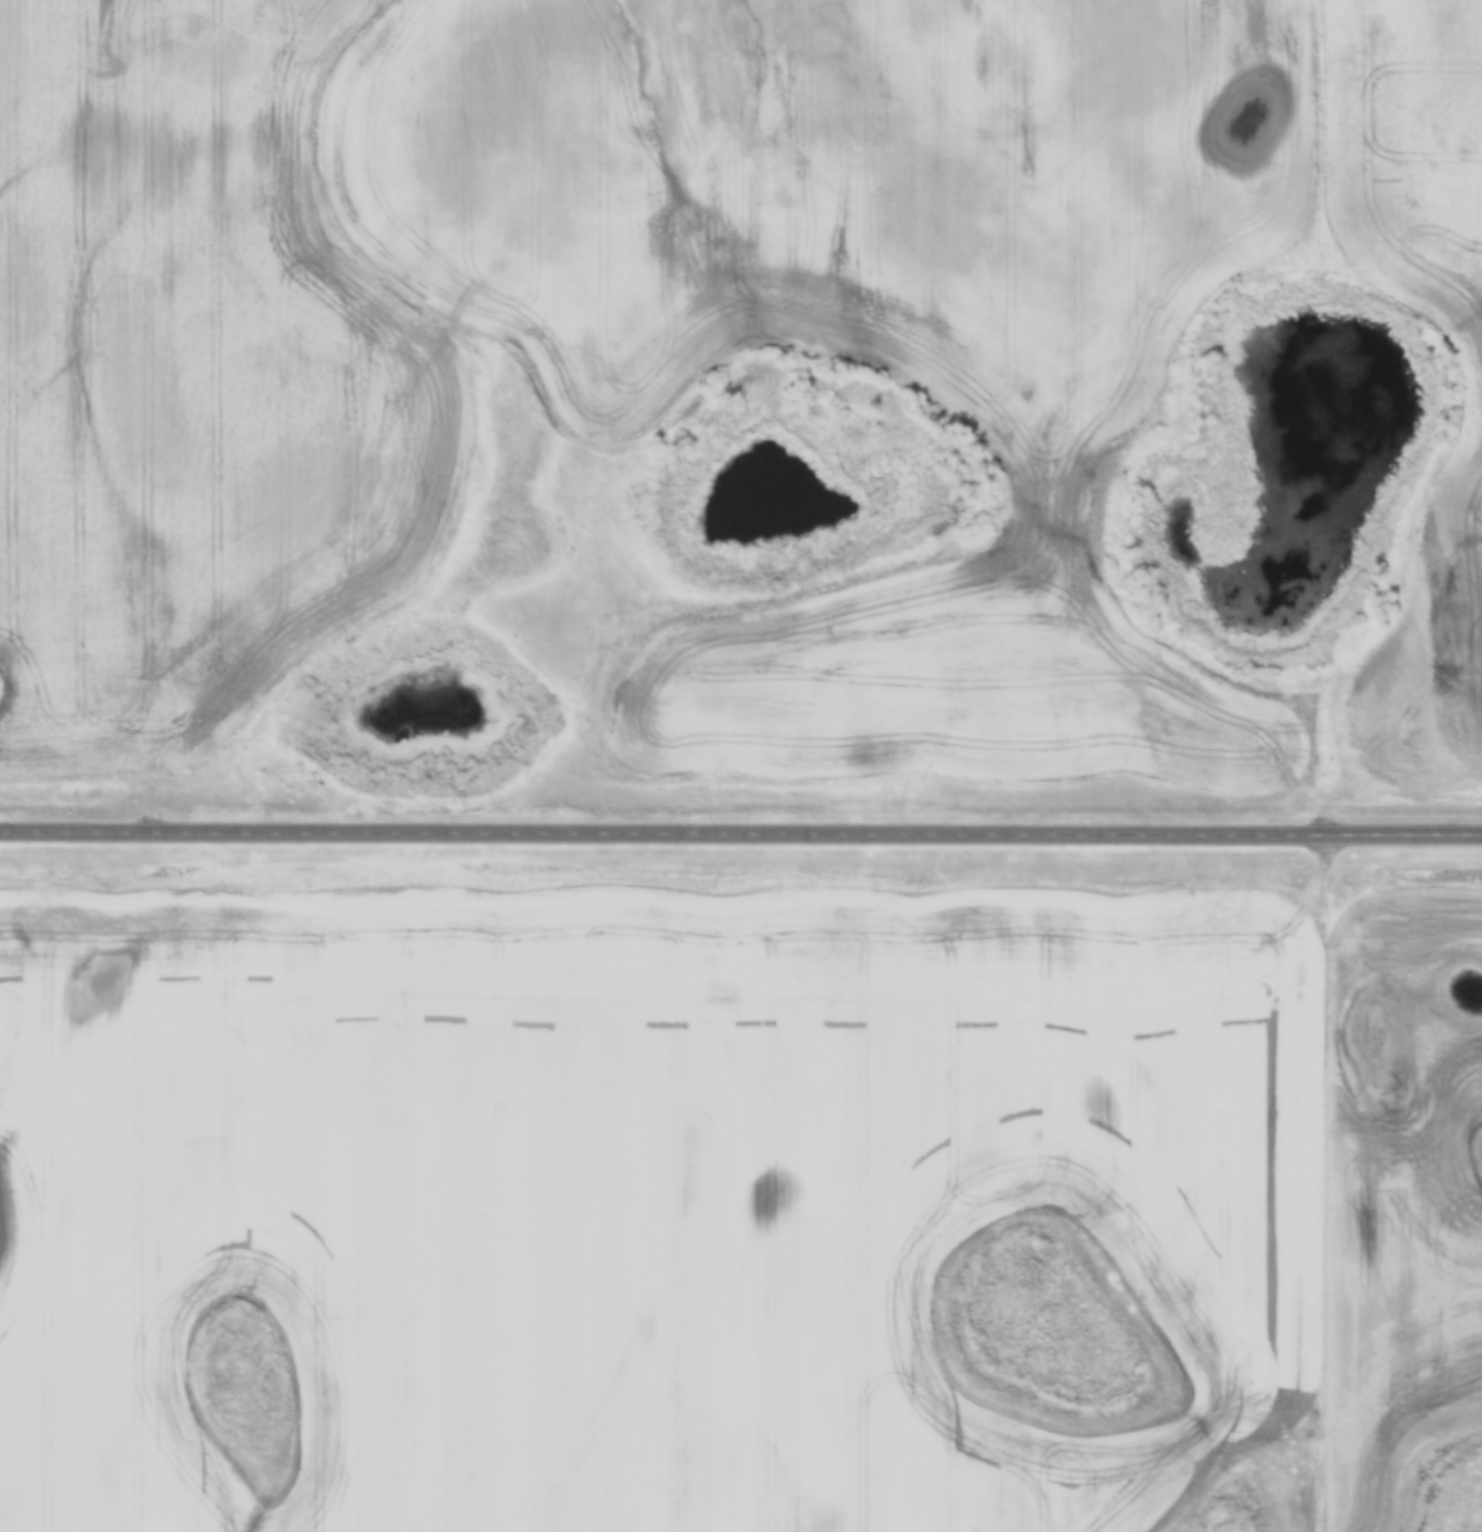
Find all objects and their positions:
road: (741, 832)

